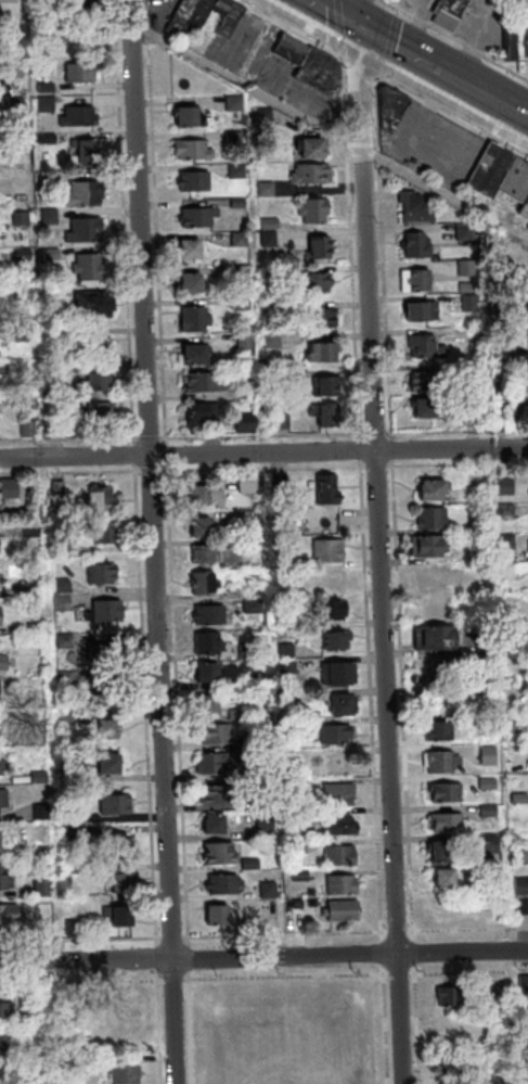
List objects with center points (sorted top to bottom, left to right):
building: (82, 4)
building: (224, 5)
road: (399, 8)
building: (450, 13)
building: (201, 14)
road: (334, 14)
road: (360, 14)
building: (183, 16)
building: (232, 21)
road: (422, 26)
road: (342, 27)
building: (15, 29)
road: (294, 29)
traffic signals: (361, 29)
road: (396, 31)
road: (454, 39)
road: (384, 41)
road: (479, 41)
building: (517, 42)
building: (293, 50)
road: (424, 63)
road: (356, 64)
building: (17, 68)
building: (321, 72)
building: (85, 73)
road: (362, 75)
road: (450, 77)
road: (247, 84)
building: (48, 88)
building: (18, 102)
building: (236, 102)
road: (494, 102)
building: (49, 104)
building: (392, 109)
building: (190, 116)
building: (82, 117)
building: (236, 137)
building: (48, 138)
building: (312, 149)
building: (195, 150)
building: (89, 152)
building: (240, 170)
building: (313, 174)
building: (503, 174)
building: (52, 179)
building: (198, 181)
building: (268, 189)
building: (87, 194)
road: (448, 194)
building: (240, 203)
building: (417, 207)
building: (315, 211)
building: (526, 211)
building: (52, 216)
building: (201, 217)
building: (24, 218)
road: (158, 221)
building: (271, 224)
building: (88, 230)
building: (465, 233)
building: (270, 239)
building: (241, 240)
building: (418, 246)
building: (320, 247)
road: (353, 247)
building: (191, 250)
building: (25, 254)
building: (55, 254)
building: (91, 267)
building: (468, 268)
building: (244, 273)
building: (421, 281)
building: (318, 282)
building: (194, 283)
building: (25, 292)
building: (472, 303)
building: (244, 304)
building: (498, 304)
building: (95, 305)
building: (424, 311)
building: (527, 314)
building: (322, 318)
building: (197, 319)
building: (57, 332)
building: (25, 333)
building: (275, 340)
building: (247, 342)
building: (94, 346)
building: (427, 347)
building: (323, 353)
building: (196, 356)
building: (502, 356)
building: (59, 366)
building: (4, 368)
building: (276, 375)
building: (96, 380)
building: (426, 381)
building: (206, 383)
building: (326, 387)
building: (248, 394)
building: (427, 409)
building: (98, 413)
building: (204, 415)
building: (330, 417)
building: (475, 417)
building: (284, 421)
building: (248, 422)
building: (30, 429)
road: (373, 434)
road: (265, 435)
road: (157, 438)
road: (363, 445)
road: (168, 449)
road: (263, 452)
building: (281, 483)
building: (250, 484)
building: (508, 487)
building: (11, 488)
building: (61, 488)
building: (330, 489)
building: (435, 492)
building: (478, 495)
building: (209, 496)
building: (104, 499)
building: (508, 511)
building: (255, 515)
building: (435, 520)
building: (201, 528)
building: (480, 528)
building: (35, 530)
building: (108, 534)
road: (156, 541)
building: (510, 543)
building: (254, 545)
building: (1, 547)
building: (430, 547)
building: (331, 551)
building: (206, 556)
building: (296, 562)
building: (1, 572)
building: (105, 575)
building: (430, 575)
building: (329, 578)
building: (205, 584)
building: (65, 586)
building: (249, 590)
building: (15, 591)
road: (385, 602)
building: (65, 603)
building: (255, 607)
building: (334, 611)
building: (108, 612)
building: (210, 616)
building: (1, 617)
building: (37, 628)
building: (520, 636)
building: (438, 639)
building: (67, 641)
building: (339, 641)
building: (210, 645)
building: (248, 651)
building: (288, 651)
building: (107, 653)
building: (5, 664)
building: (289, 666)
building: (208, 674)
building: (340, 676)
building: (68, 679)
building: (262, 681)
building: (441, 683)
building: (110, 690)
building: (292, 698)
building: (208, 706)
building: (345, 706)
building: (239, 715)
building: (519, 724)
building: (2, 730)
building: (108, 731)
building: (443, 732)
building: (217, 735)
building: (339, 735)
building: (263, 738)
building: (490, 755)
building: (343, 762)
building: (445, 763)
building: (218, 764)
building: (3, 765)
building: (113, 766)
building: (266, 769)
building: (41, 777)
building: (489, 785)
building: (296, 787)
building: (447, 793)
building: (340, 795)
building: (223, 796)
building: (4, 800)
building: (520, 800)
building: (117, 806)
building: (490, 811)
building: (43, 813)
building: (74, 816)
building: (447, 824)
building: (216, 826)
building: (343, 826)
building: (267, 829)
building: (76, 833)
building: (1, 844)
building: (492, 844)
building: (125, 846)
building: (300, 846)
building: (46, 854)
building: (445, 854)
building: (221, 855)
building: (342, 856)
building: (521, 856)
building: (253, 865)
building: (74, 870)
building: (301, 876)
building: (5, 879)
building: (446, 881)
building: (123, 885)
building: (226, 885)
building: (343, 887)
building: (523, 887)
building: (46, 889)
building: (270, 891)
building: (523, 906)
building: (343, 911)
building: (12, 916)
building: (219, 917)
building: (123, 918)
building: (301, 918)
building: (75, 929)
road: (263, 958)
building: (525, 985)
building: (451, 999)
building: (125, 1000)
building: (527, 1007)
building: (7, 1013)
building: (452, 1035)
building: (525, 1036)
building: (9, 1046)
building: (83, 1068)
building: (458, 1068)
building: (128, 1074)

